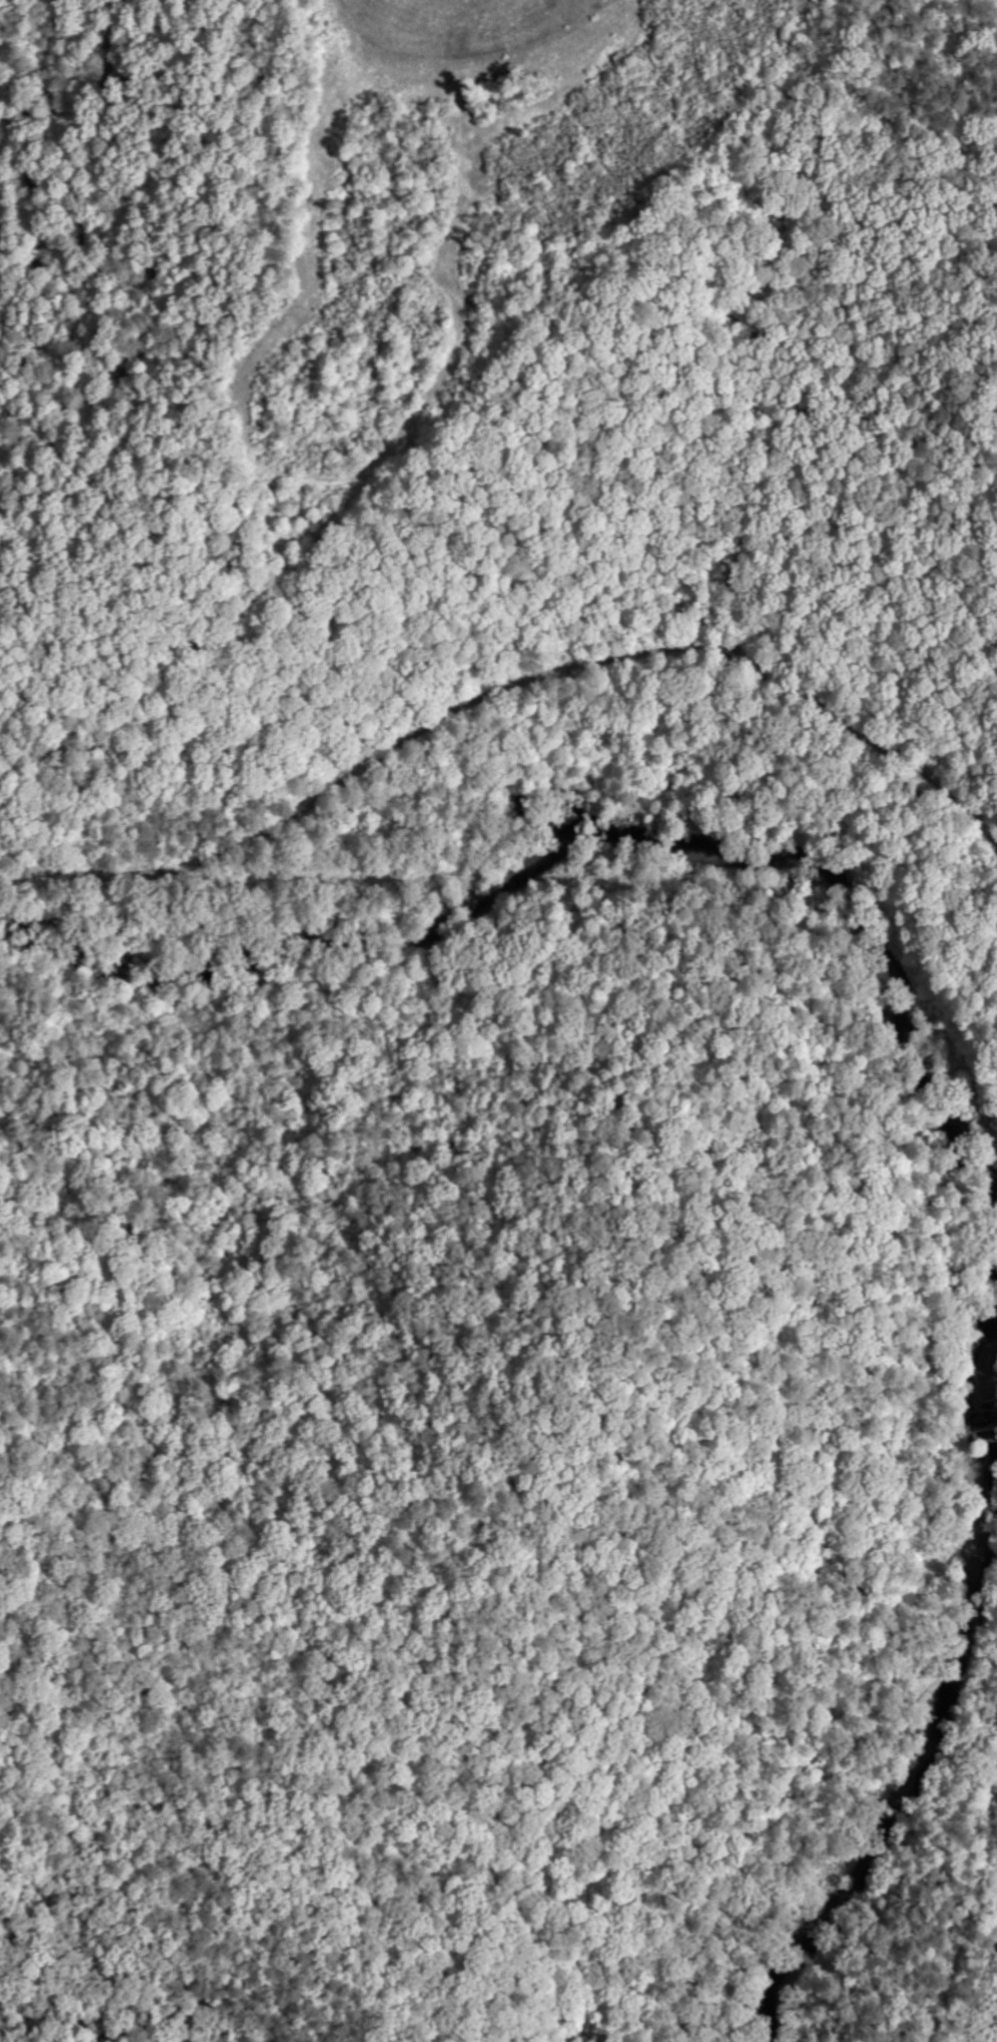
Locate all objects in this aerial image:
road: (511, 684)

